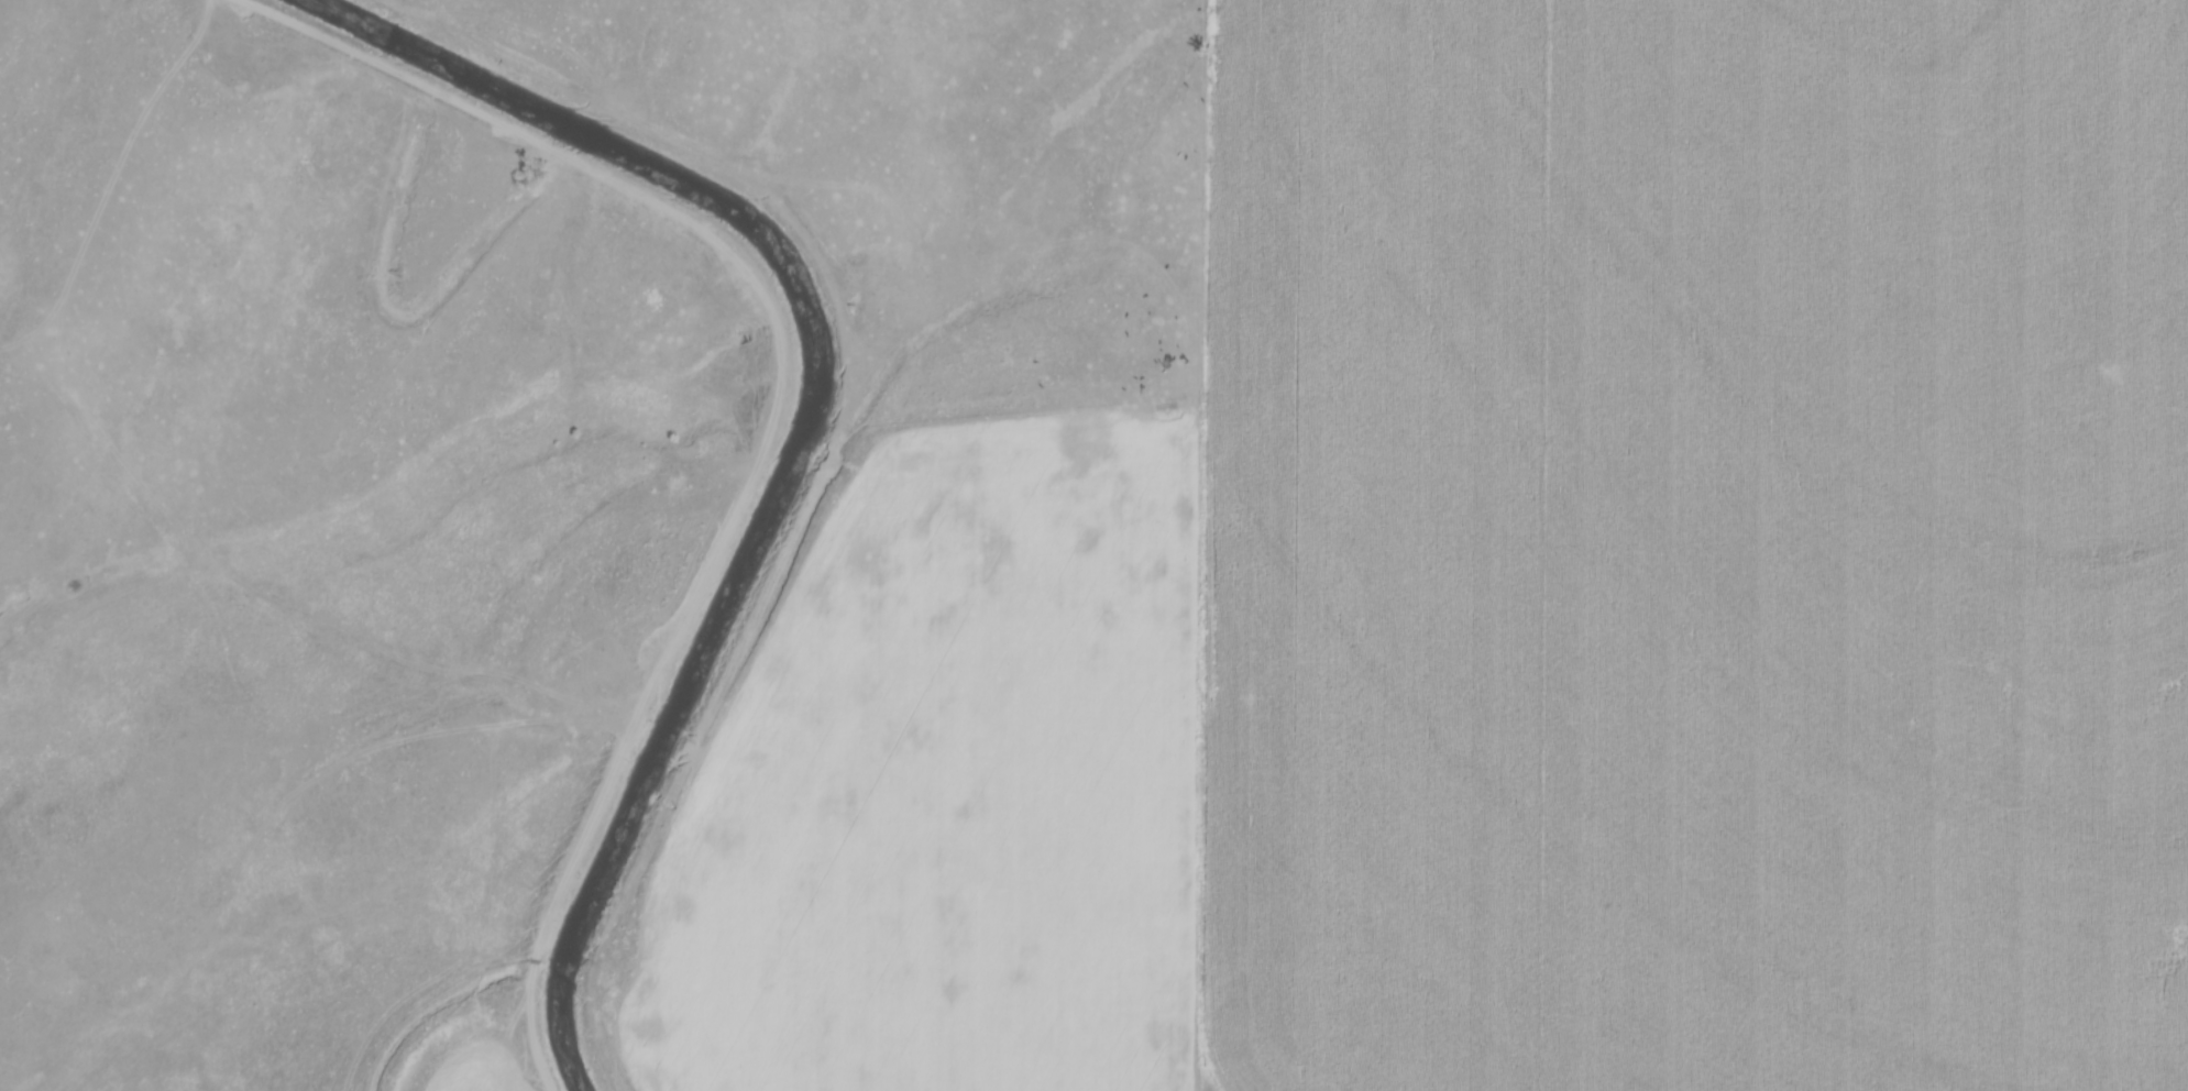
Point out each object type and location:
road: (774, 417)

